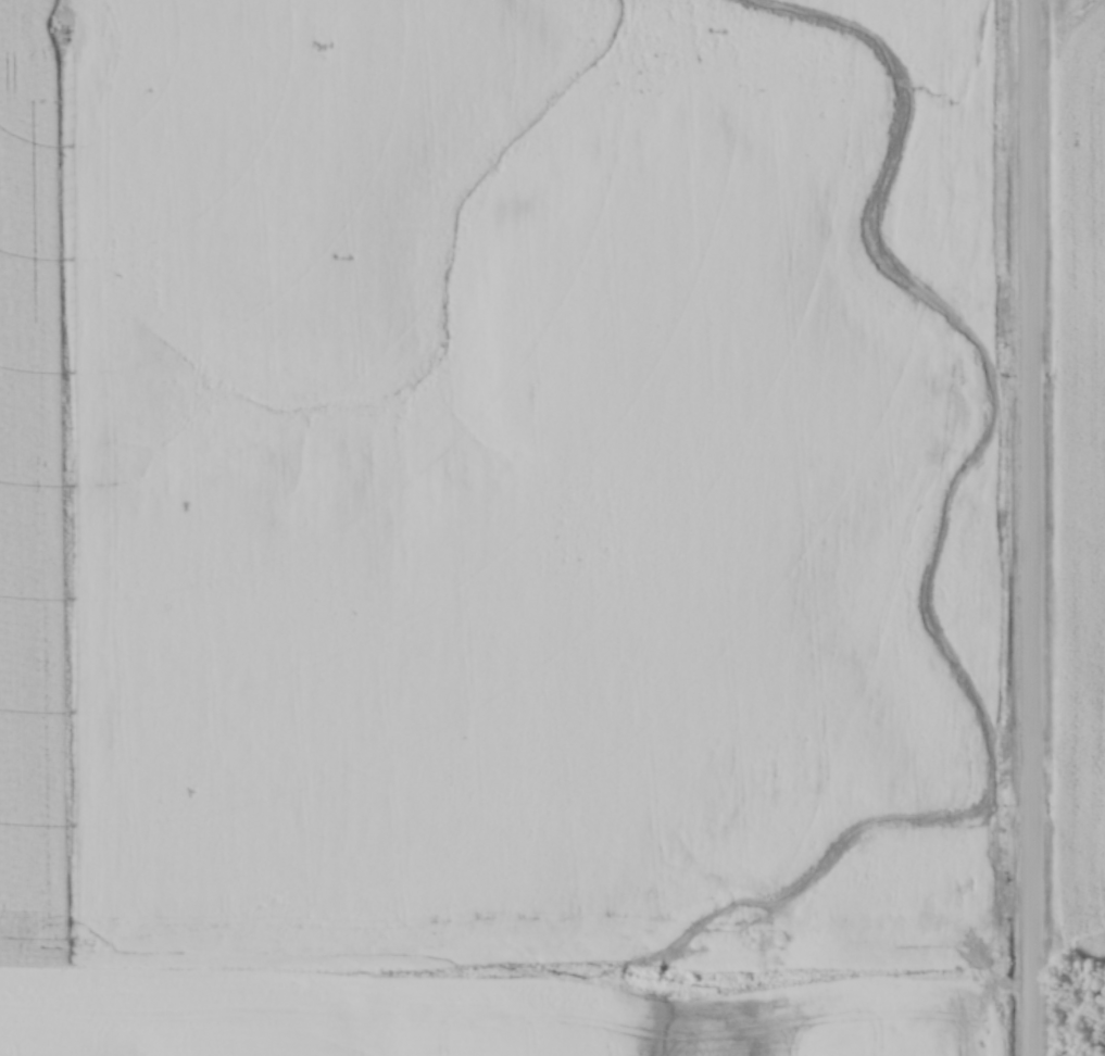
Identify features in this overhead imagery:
road: (1029, 528)

